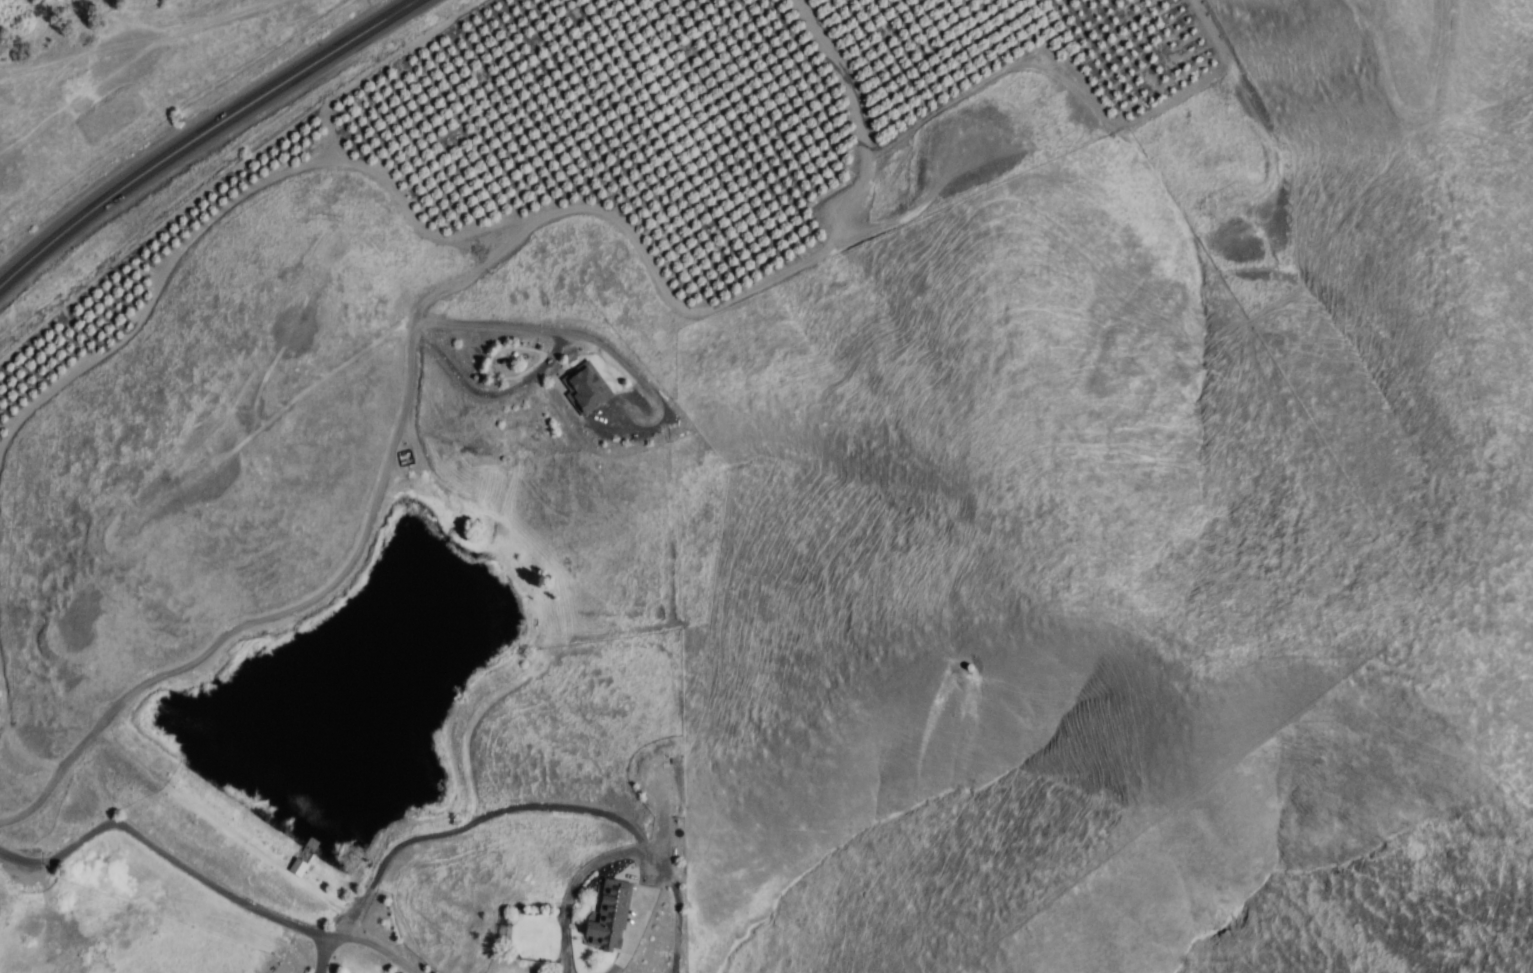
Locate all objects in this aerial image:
road: (154, 50)
crop: (1110, 62)
crop: (155, 104)
crop: (479, 124)
road: (199, 134)
crop: (785, 137)
crop: (180, 259)
building: (585, 388)
crop: (4, 613)
road: (270, 617)
building: (610, 914)

